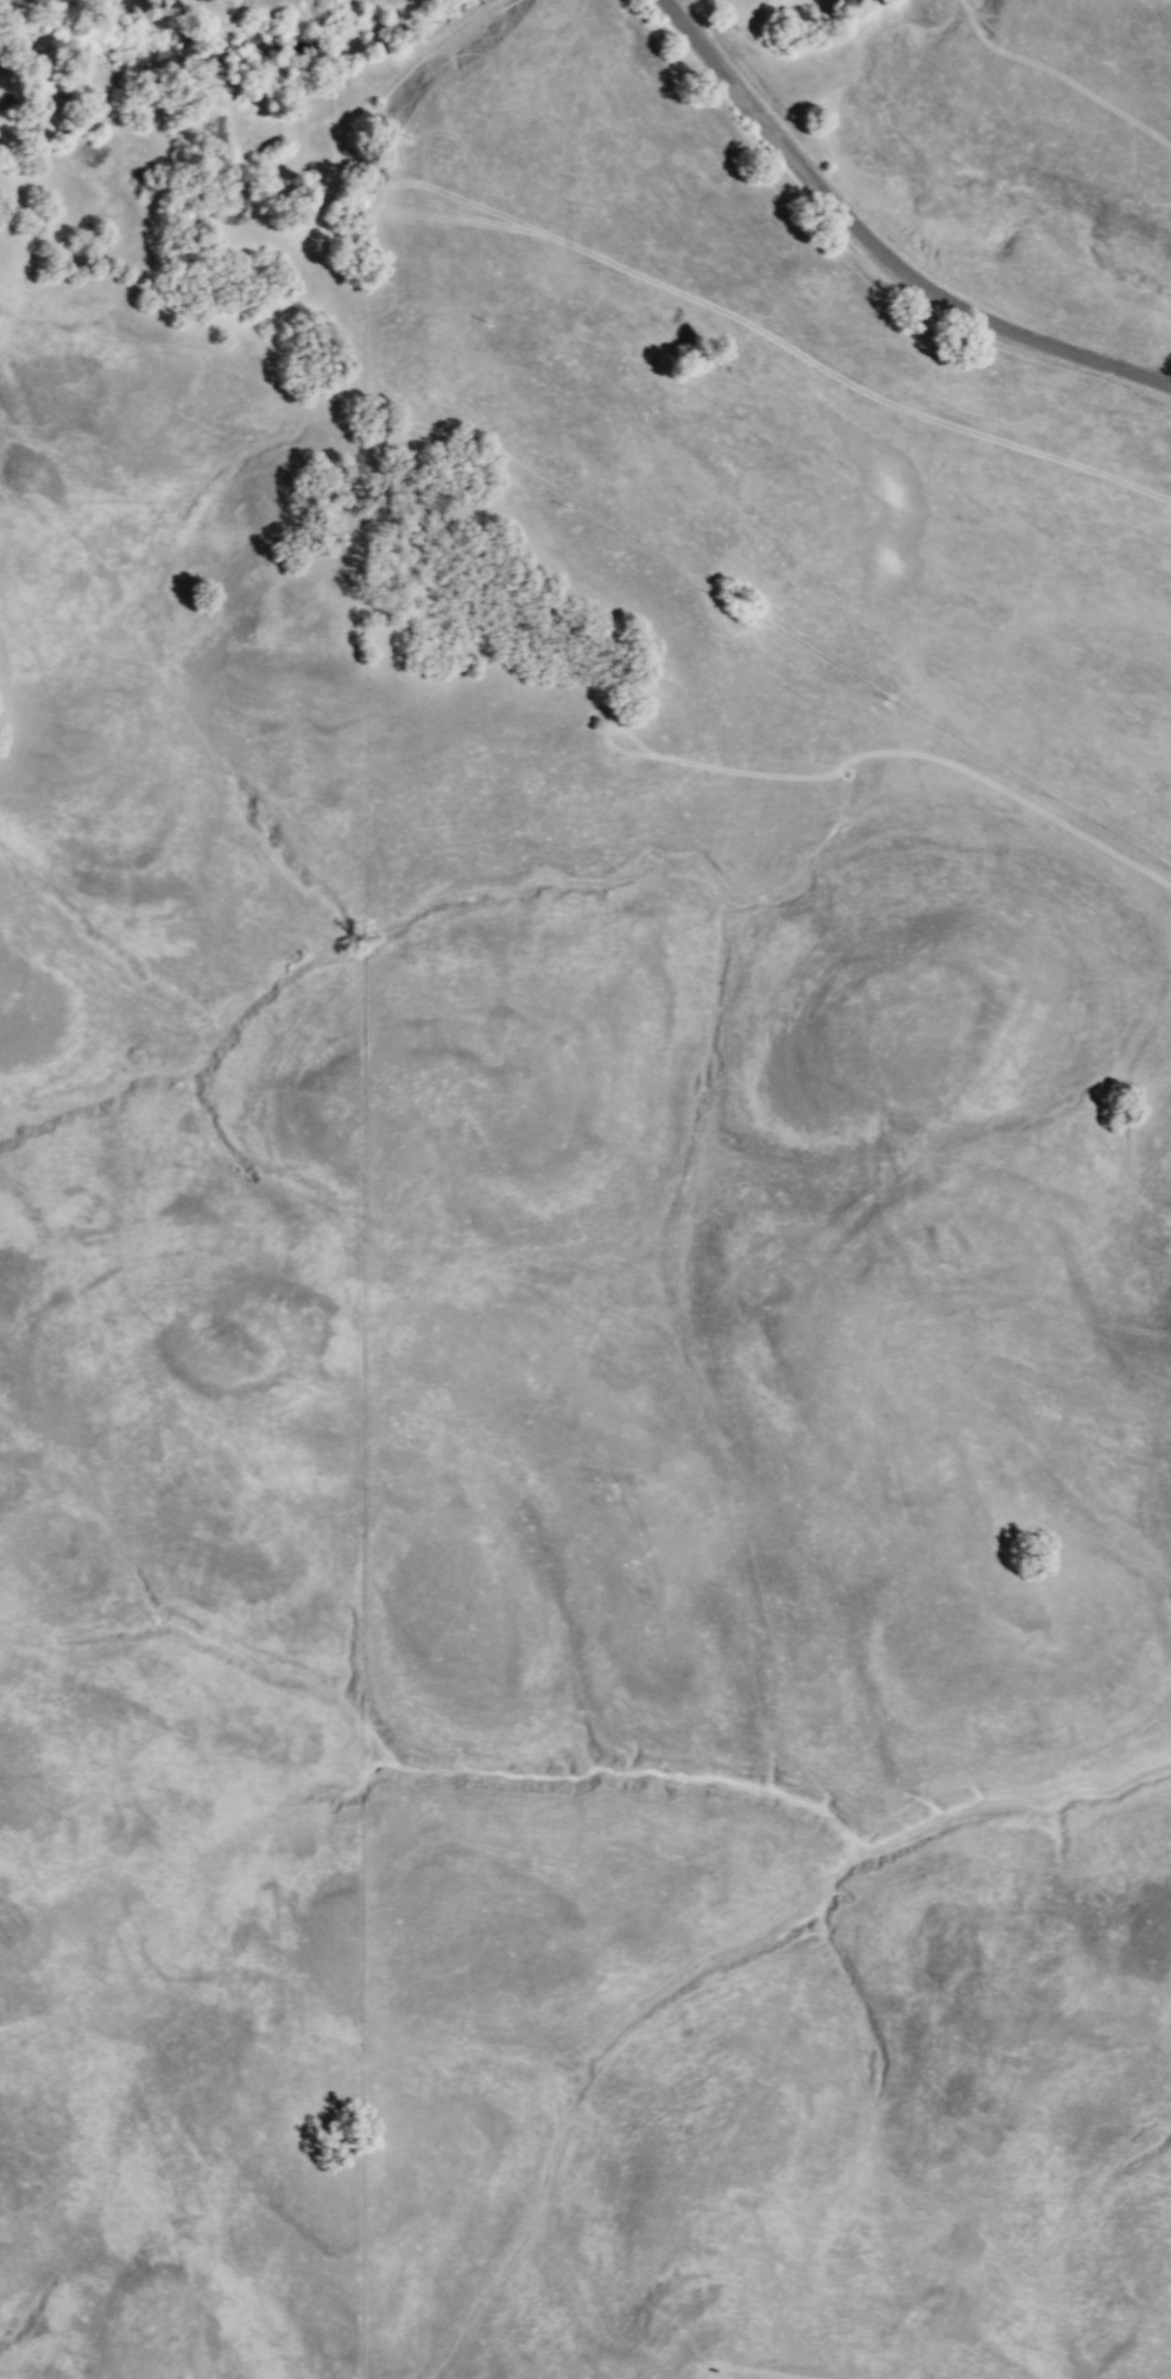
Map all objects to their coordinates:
road: (879, 248)

